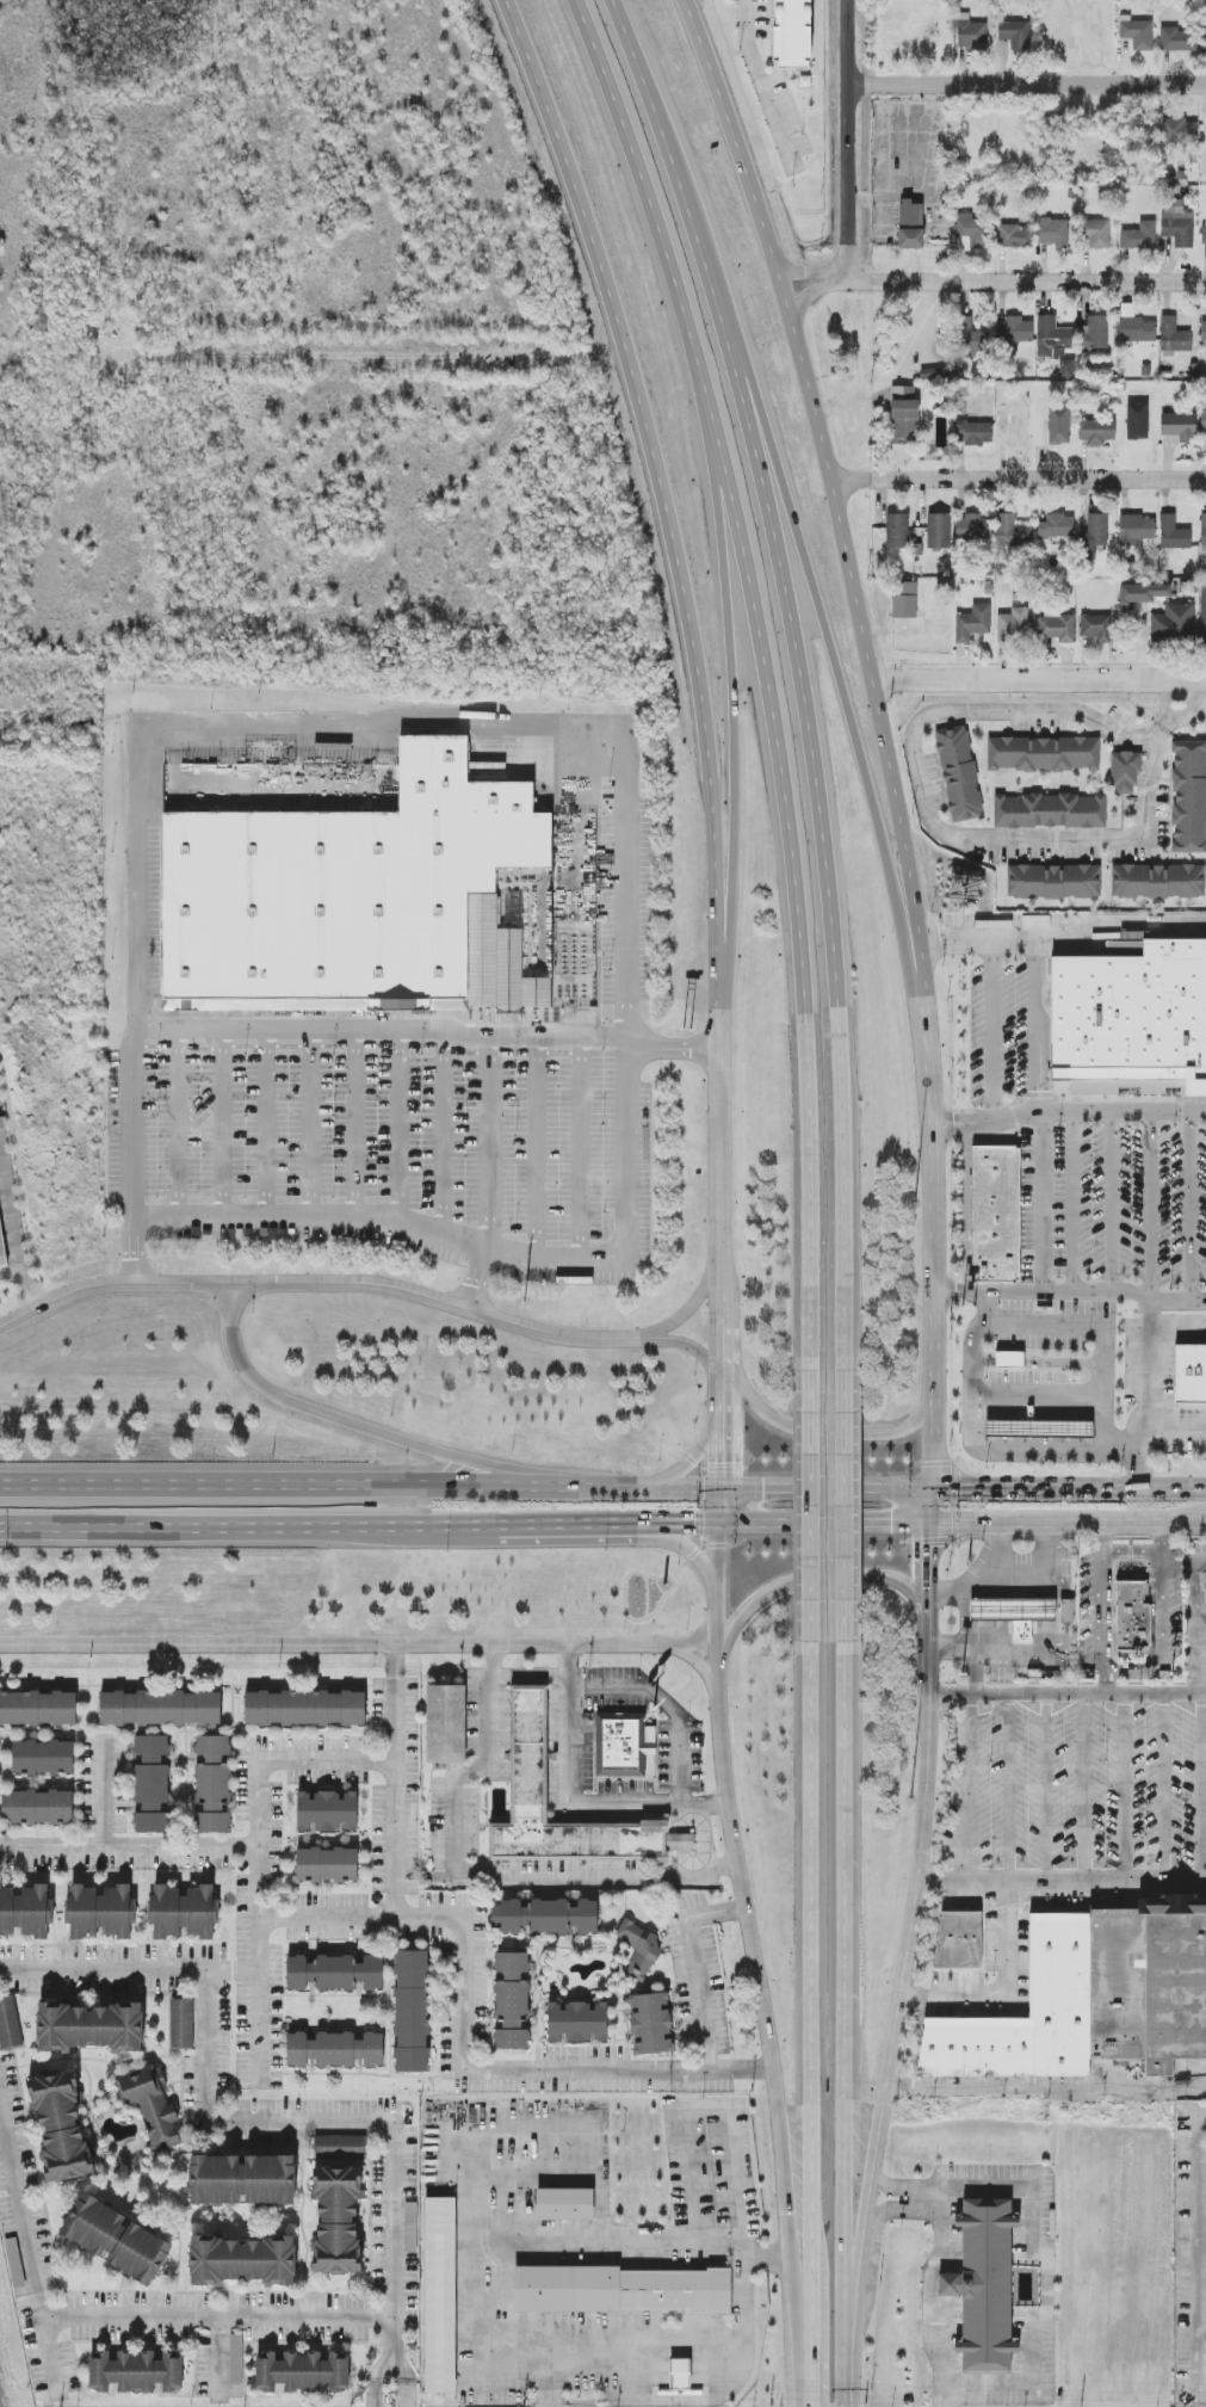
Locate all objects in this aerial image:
building: (1137, 32)
building: (1015, 33)
building: (792, 35)
building: (971, 35)
building: (1177, 39)
building: (1204, 39)
road: (762, 81)
road: (1027, 85)
road: (660, 116)
building: (1176, 131)
road: (848, 138)
road: (637, 169)
building: (910, 214)
building: (1177, 227)
building: (969, 232)
building: (1052, 232)
building: (1097, 234)
building: (1204, 235)
building: (1013, 236)
building: (1139, 236)
building: (910, 239)
road: (811, 272)
road: (1025, 279)
road: (815, 291)
building: (1134, 326)
building: (1014, 331)
building: (1202, 332)
building: (1096, 334)
building: (970, 338)
building: (1052, 338)
building: (1174, 338)
building: (1066, 369)
building: (934, 374)
building: (904, 415)
building: (1204, 424)
building: (1059, 426)
building: (1179, 426)
building: (1095, 431)
building: (1138, 432)
building: (973, 433)
road: (1020, 476)
road: (662, 495)
road: (839, 505)
building: (1056, 526)
building: (972, 529)
building: (1136, 530)
building: (897, 531)
building: (939, 531)
building: (1012, 532)
building: (1202, 532)
building: (1095, 533)
building: (1173, 533)
building: (1143, 593)
building: (904, 599)
building: (1202, 612)
building: (973, 623)
building: (1173, 623)
building: (1013, 625)
road: (824, 627)
building: (1057, 627)
building: (1096, 628)
road: (731, 677)
road: (1040, 679)
road: (1177, 718)
road: (614, 724)
building: (1044, 754)
road: (574, 763)
building: (1125, 772)
building: (959, 773)
road: (821, 790)
building: (1189, 796)
building: (1050, 810)
road: (930, 819)
road: (793, 846)
building: (1053, 882)
building: (1158, 882)
building: (341, 891)
road: (1062, 926)
road: (982, 1024)
building: (1126, 1025)
road: (431, 1029)
building: (515, 1079)
road: (1068, 1111)
road: (177, 1122)
road: (224, 1122)
road: (268, 1122)
road: (314, 1123)
road: (355, 1123)
road: (400, 1124)
road: (444, 1135)
road: (536, 1148)
road: (582, 1149)
road: (722, 1155)
road: (488, 1175)
road: (1043, 1201)
road: (1072, 1201)
road: (1113, 1203)
road: (959, 1206)
building: (996, 1214)
road: (10, 1215)
building: (2, 1247)
road: (932, 1258)
road: (10, 1275)
road: (315, 1283)
road: (31, 1289)
road: (1069, 1290)
road: (1151, 1303)
road: (692, 1308)
road: (723, 1321)
road: (1102, 1325)
road: (228, 1329)
road: (686, 1344)
building: (1015, 1357)
building: (1189, 1374)
building: (1038, 1427)
gas station: (1038, 1427)
road: (1175, 1428)
road: (718, 1433)
road: (812, 1434)
road: (410, 1443)
road: (977, 1448)
traffic signals: (718, 1462)
road: (676, 1469)
road: (358, 1488)
traffic signals: (763, 1492)
road: (824, 1492)
traffic signals: (960, 1492)
road: (1069, 1492)
road: (810, 1504)
road: (843, 1505)
road: (929, 1506)
road: (1066, 1522)
road: (822, 1523)
traffic signals: (892, 1523)
road: (249, 1525)
road: (574, 1526)
road: (682, 1526)
traffic signals: (694, 1526)
road: (1105, 1537)
road: (689, 1547)
traffic signals: (928, 1548)
road: (1148, 1554)
road: (1182, 1555)
road: (927, 1572)
road: (1050, 1575)
building: (1205, 1579)
road: (805, 1580)
road: (989, 1581)
road: (1198, 1585)
building: (1066, 1609)
building: (1014, 1612)
road: (1202, 1612)
road: (1105, 1615)
building: (1132, 1615)
road: (699, 1638)
road: (965, 1638)
road: (1161, 1640)
road: (340, 1643)
road: (1012, 1650)
road: (1199, 1654)
road: (397, 1659)
road: (700, 1659)
road: (976, 1671)
road: (927, 1673)
road: (530, 1677)
road: (1105, 1685)
road: (1066, 1695)
road: (666, 1704)
building: (160, 1706)
building: (38, 1708)
building: (305, 1708)
building: (446, 1723)
building: (623, 1743)
building: (528, 1752)
building: (43, 1757)
road: (328, 1759)
building: (151, 1783)
building: (212, 1783)
road: (966, 1786)
road: (1009, 1788)
road: (1046, 1789)
road: (1086, 1789)
road: (1125, 1790)
road: (1164, 1790)
road: (106, 1791)
road: (1202, 1791)
road: (397, 1796)
road: (730, 1796)
road: (921, 1801)
road: (570, 1802)
building: (38, 1806)
building: (327, 1810)
road: (681, 1840)
road: (704, 1840)
road: (129, 1846)
road: (258, 1863)
building: (327, 1864)
road: (475, 1878)
road: (1062, 1883)
building: (25, 1911)
building: (100, 1911)
building: (184, 1911)
building: (544, 1917)
road: (357, 1918)
building: (960, 1927)
building: (639, 1948)
building: (958, 1957)
road: (697, 1964)
road: (128, 1969)
building: (335, 1973)
road: (810, 1974)
road: (848, 1974)
building: (1148, 1981)
road: (1004, 1987)
road: (459, 1993)
building: (512, 2000)
building: (412, 2010)
building: (577, 2020)
building: (181, 2022)
building: (651, 2022)
building: (10, 2024)
building: (89, 2025)
road: (256, 2026)
road: (897, 2029)
building: (335, 2048)
road: (722, 2067)
road: (567, 2068)
road: (1047, 2085)
building: (151, 2104)
road: (707, 2106)
road: (318, 2118)
building: (61, 2125)
building: (340, 2146)
road: (788, 2159)
building: (242, 2179)
road: (898, 2186)
building: (564, 2203)
road: (892, 2207)
road: (20, 2215)
building: (336, 2217)
building: (117, 2238)
road: (856, 2238)
road: (669, 2239)
road: (774, 2253)
building: (243, 2259)
road: (1199, 2261)
road: (1049, 2271)
road: (808, 2276)
building: (984, 2283)
building: (623, 2289)
building: (440, 2292)
road: (927, 2296)
road: (215, 2313)
road: (389, 2331)
road: (843, 2352)
road: (49, 2353)
road: (812, 2353)
building: (236, 2357)
road: (381, 2364)
road: (398, 2365)
building: (135, 2370)
building: (302, 2371)
building: (680, 2372)
road: (551, 2381)
road: (377, 2394)
road: (406, 2395)

